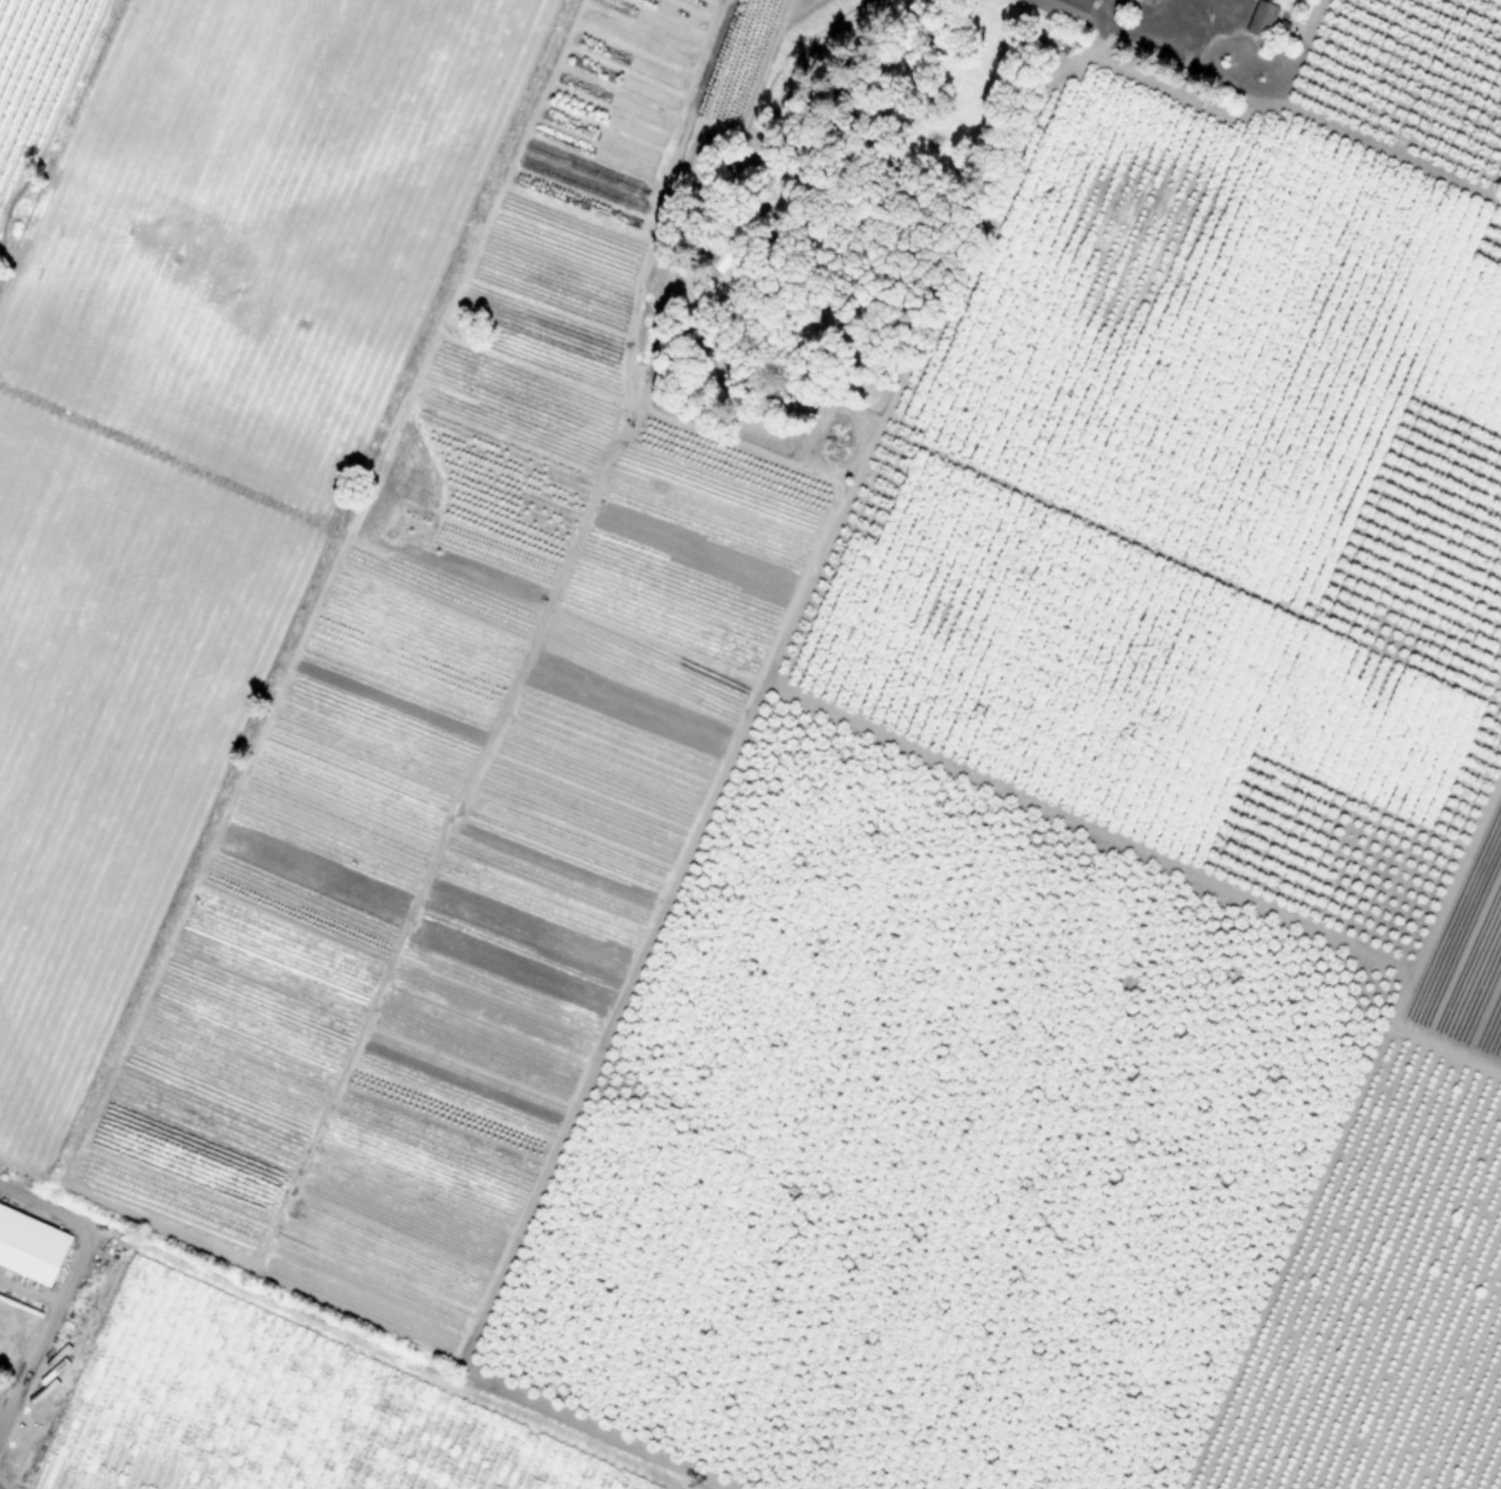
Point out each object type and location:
building: (1060, 8)
building: (443, 18)
building: (1259, 20)
building: (323, 45)
building: (236, 88)
building: (114, 466)
building: (250, 573)
building: (161, 713)
crop: (750, 744)
building: (38, 840)
road: (64, 1287)

